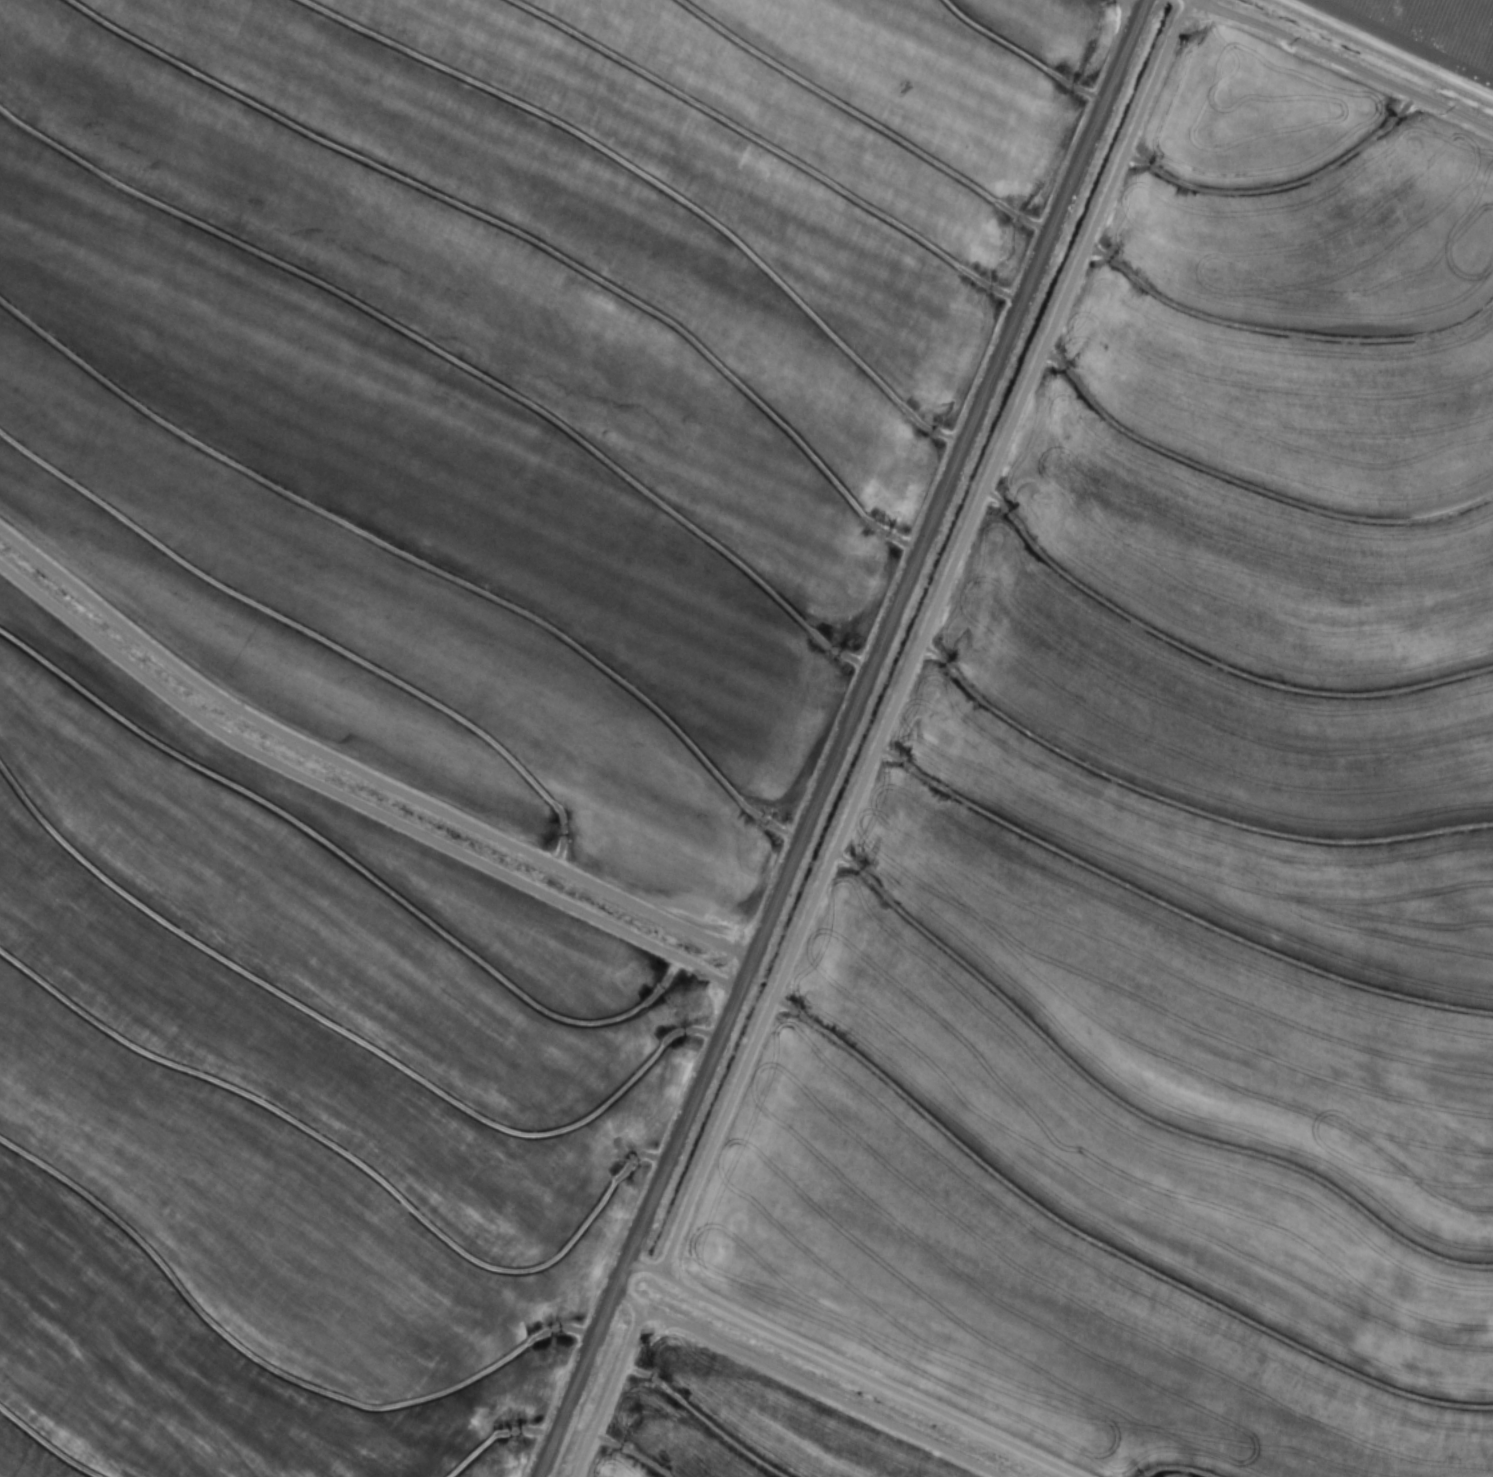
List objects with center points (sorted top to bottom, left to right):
crop: (746, 738)
road: (848, 738)

